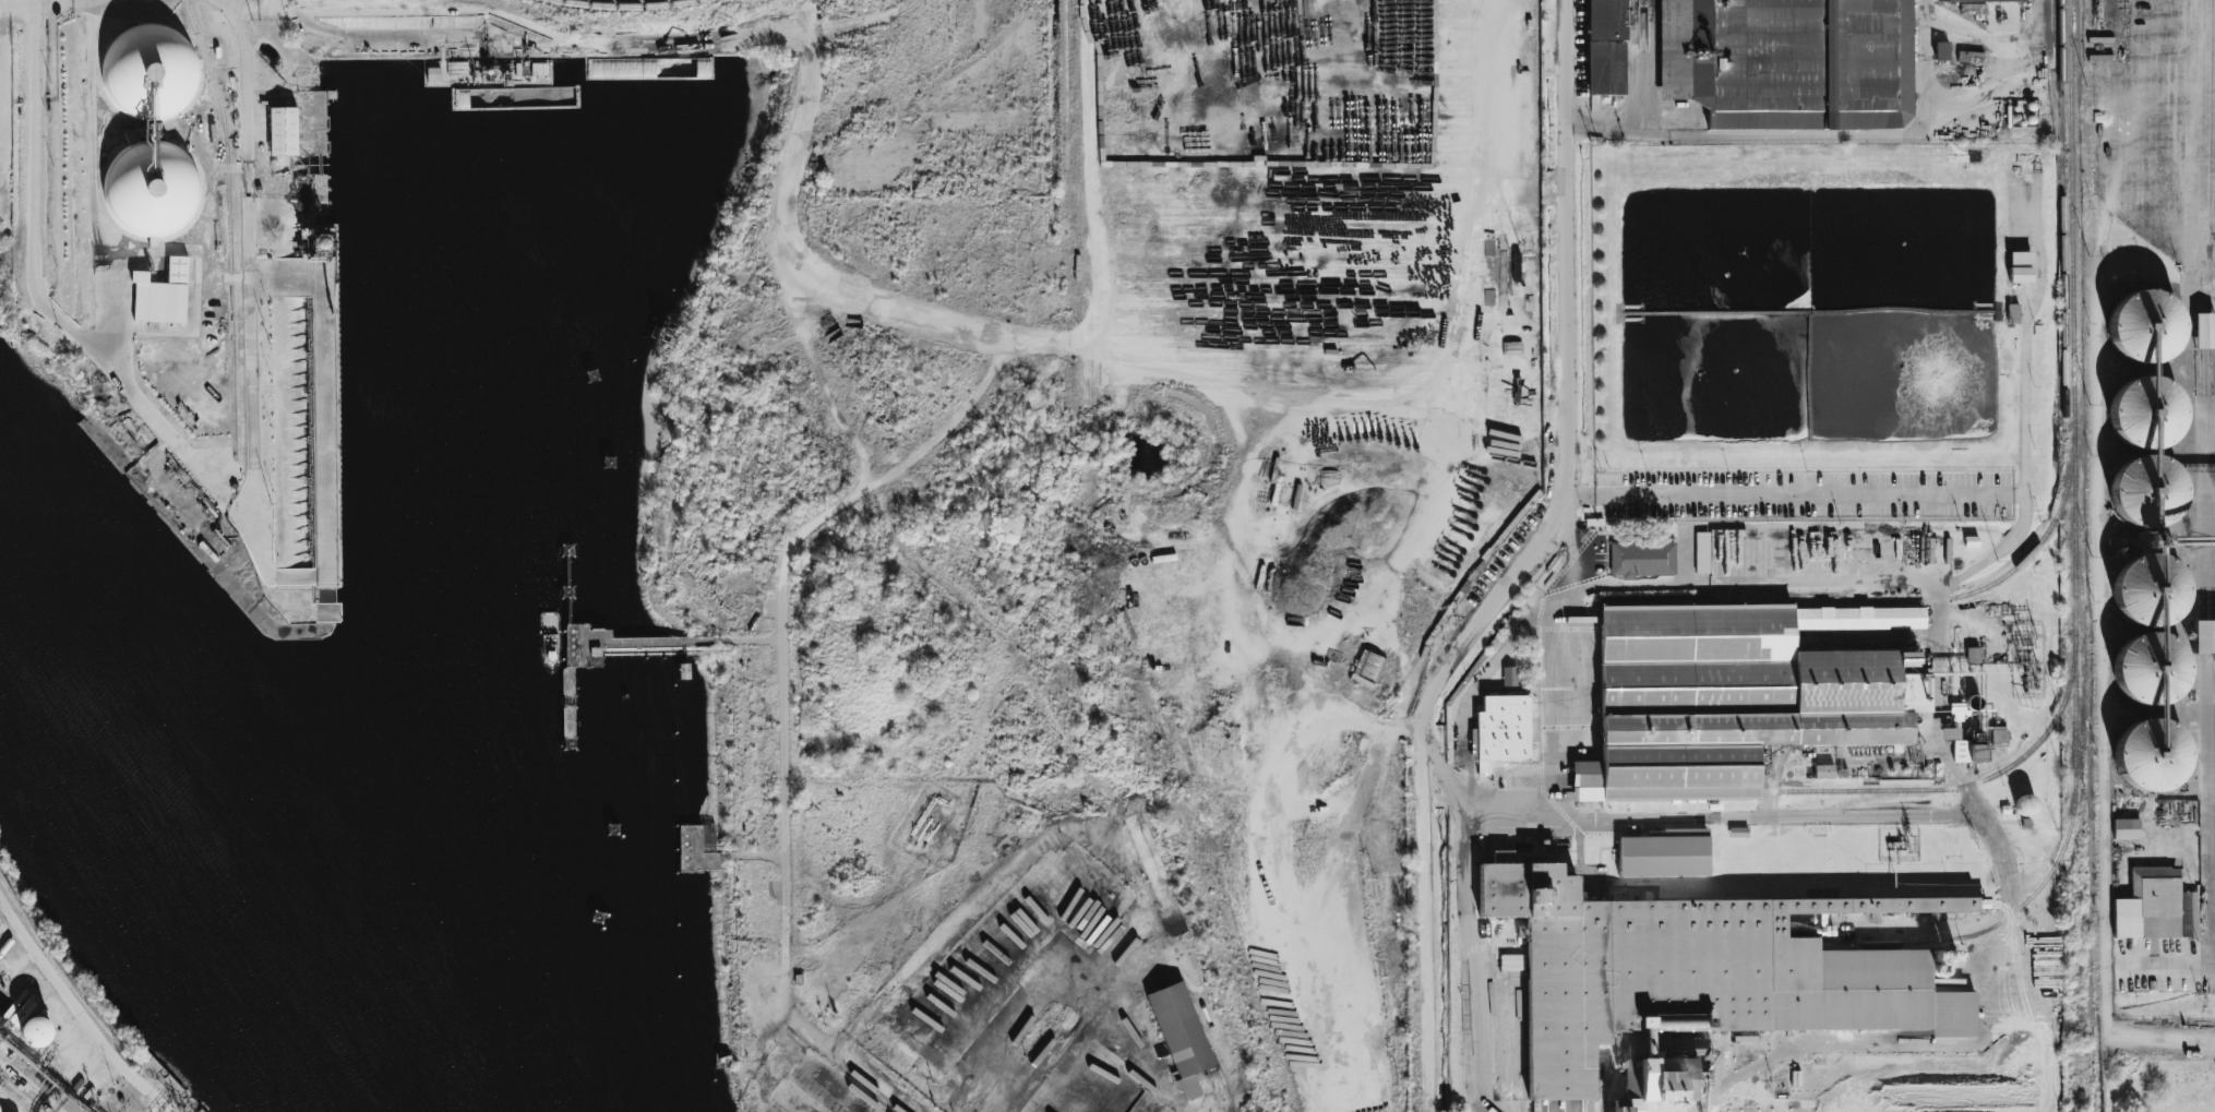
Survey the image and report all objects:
road: (85, 1)
building: (1977, 1)
road: (16, 3)
road: (238, 4)
road: (99, 5)
railway: (625, 5)
road: (256, 8)
road: (307, 23)
building: (1606, 47)
building: (1941, 50)
railway: (2061, 74)
railway: (1066, 98)
building: (151, 130)
building: (283, 131)
road: (1785, 133)
railway: (2062, 206)
railway: (2072, 213)
railway: (228, 225)
road: (248, 253)
road: (2206, 258)
building: (2020, 266)
building: (161, 295)
building: (2012, 313)
road: (57, 318)
building: (2145, 326)
building: (2204, 331)
road: (1797, 494)
road: (847, 501)
road: (2211, 522)
road: (1570, 545)
building: (1702, 552)
building: (1642, 559)
road: (1520, 563)
road: (1643, 582)
railway: (1884, 601)
building: (2151, 630)
building: (2203, 636)
pier: (571, 647)
pier: (643, 654)
building: (1973, 655)
building: (1509, 675)
building: (1735, 695)
road: (1941, 706)
road: (1558, 708)
building: (1501, 730)
road: (2208, 730)
building: (1949, 733)
building: (1978, 744)
building: (2150, 754)
building: (1823, 772)
railway: (2075, 773)
road: (1441, 774)
railway: (1962, 786)
railway: (1726, 791)
road: (1769, 816)
road: (1511, 820)
building: (2126, 828)
river: (228, 842)
building: (1664, 853)
building: (2155, 906)
storage tank: (5, 947)
road: (2012, 967)
building: (1692, 983)
road: (79, 1012)
building: (37, 1031)
storage tank: (37, 1031)
building: (1181, 1035)
road: (1893, 1045)
road: (31, 1086)

